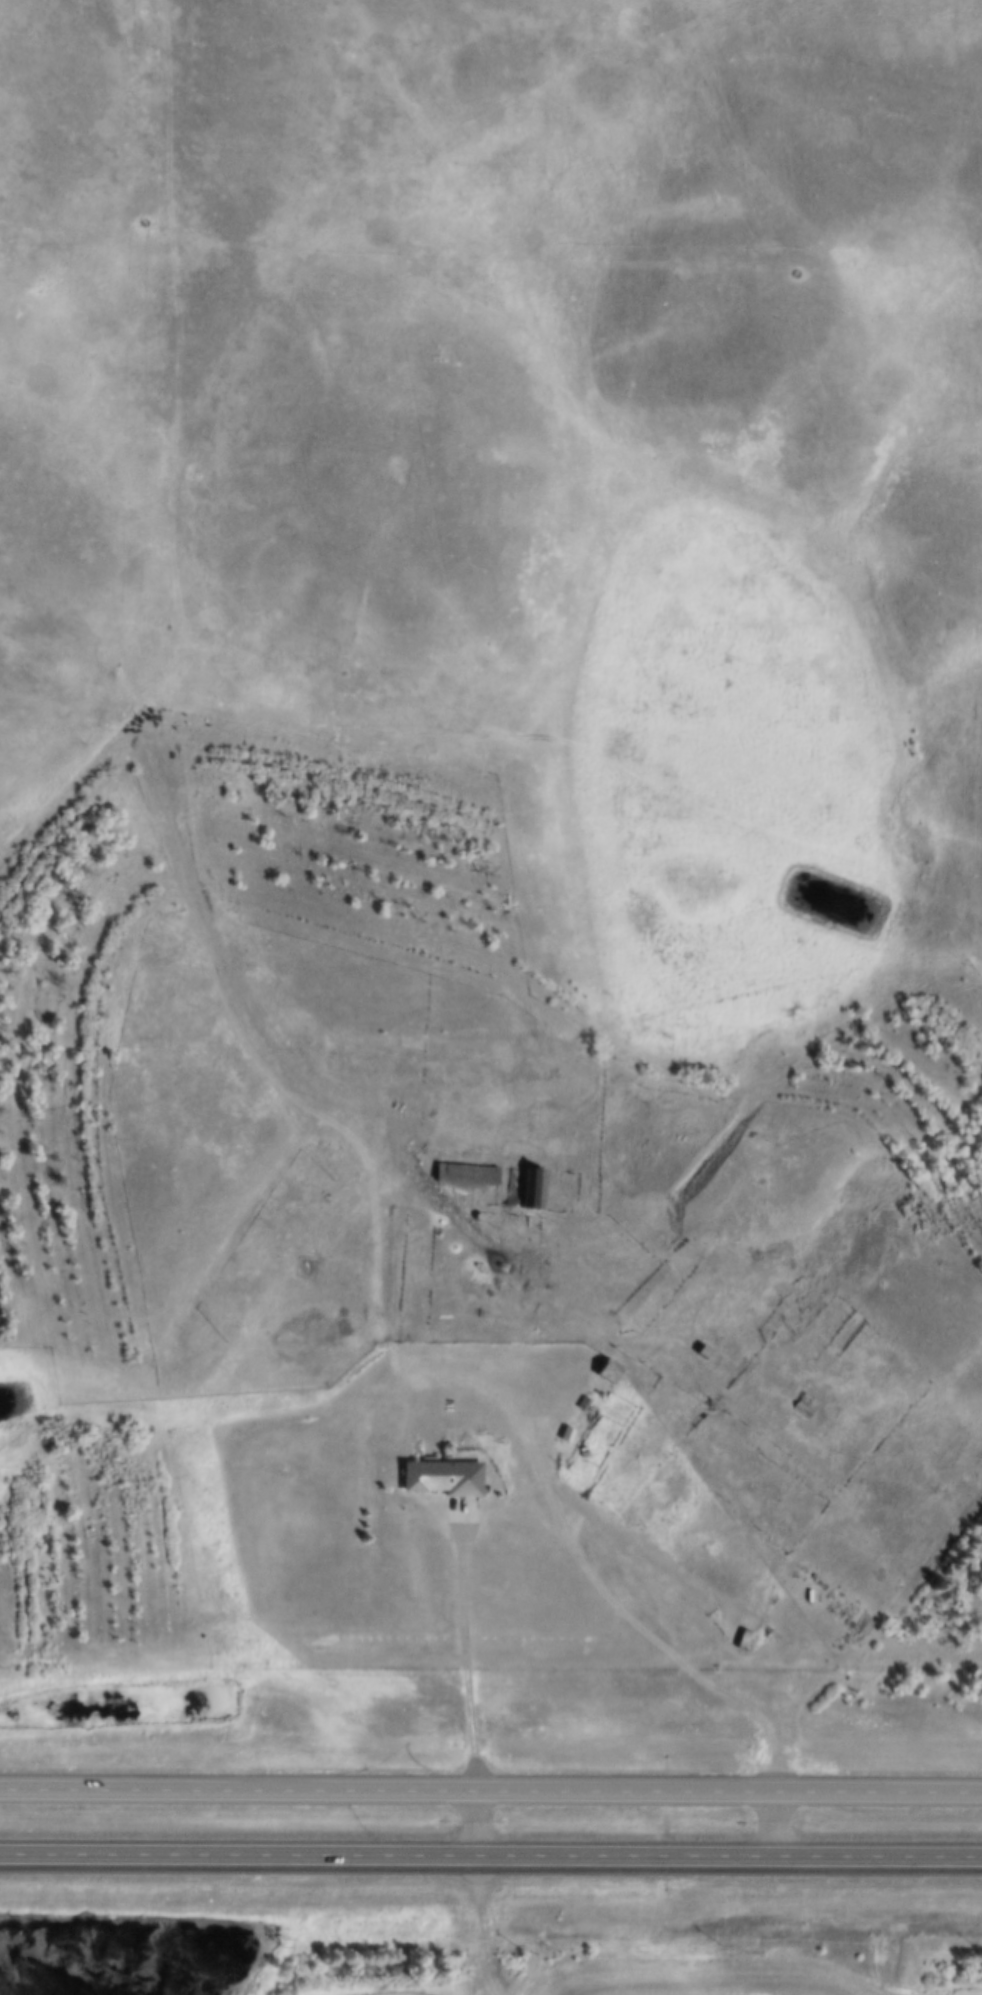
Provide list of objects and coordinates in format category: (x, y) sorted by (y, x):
building: (465, 1172)
building: (511, 1186)
building: (531, 1188)
building: (702, 1350)
building: (607, 1369)
building: (439, 1477)
road: (648, 1632)
building: (743, 1639)
road: (468, 1661)
road: (490, 1794)
road: (478, 1823)
road: (773, 1824)
road: (491, 1852)
road: (723, 1872)

